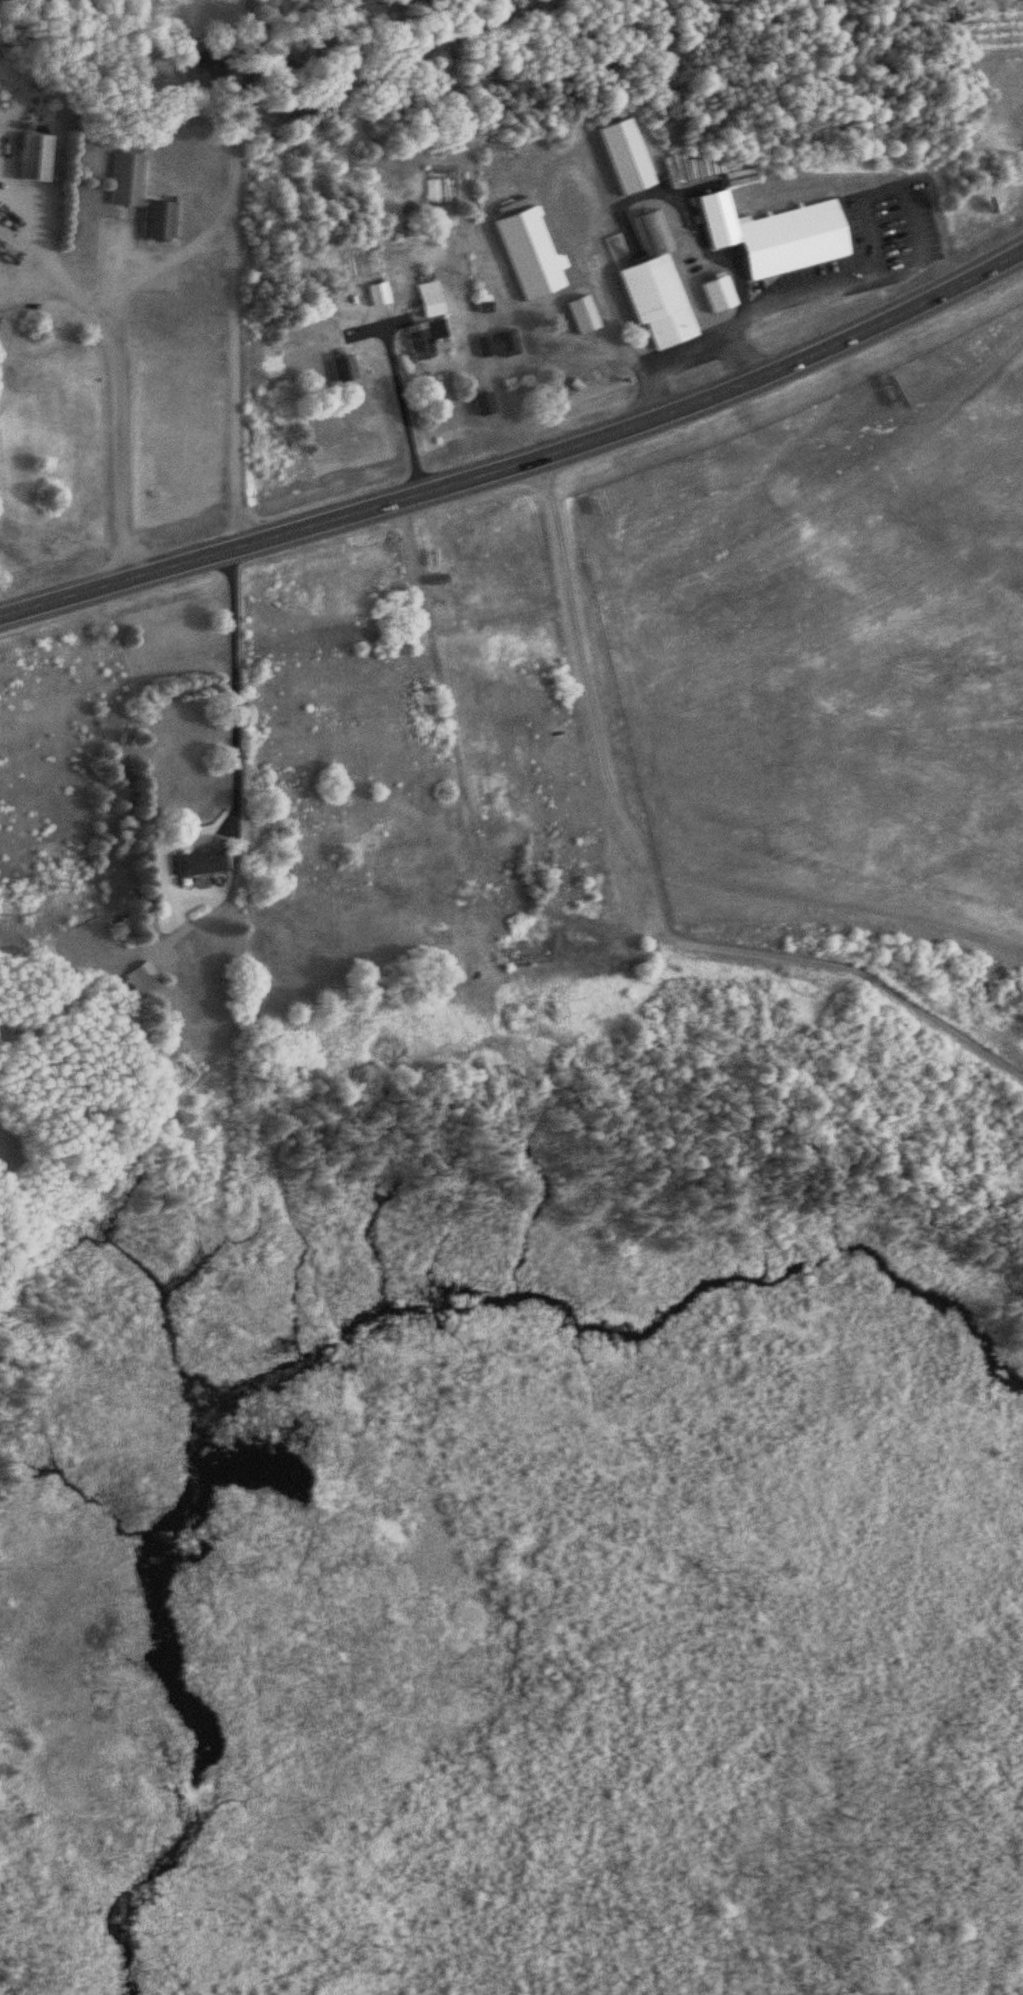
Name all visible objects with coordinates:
building: (202, 69)
building: (621, 157)
building: (30, 158)
building: (137, 197)
building: (772, 236)
building: (652, 287)
building: (375, 295)
building: (714, 295)
building: (426, 300)
building: (578, 316)
building: (420, 340)
building: (494, 346)
building: (340, 369)
road: (105, 398)
building: (480, 404)
road: (523, 464)
airport: (835, 637)
building: (193, 865)
road: (654, 886)
building: (138, 979)

